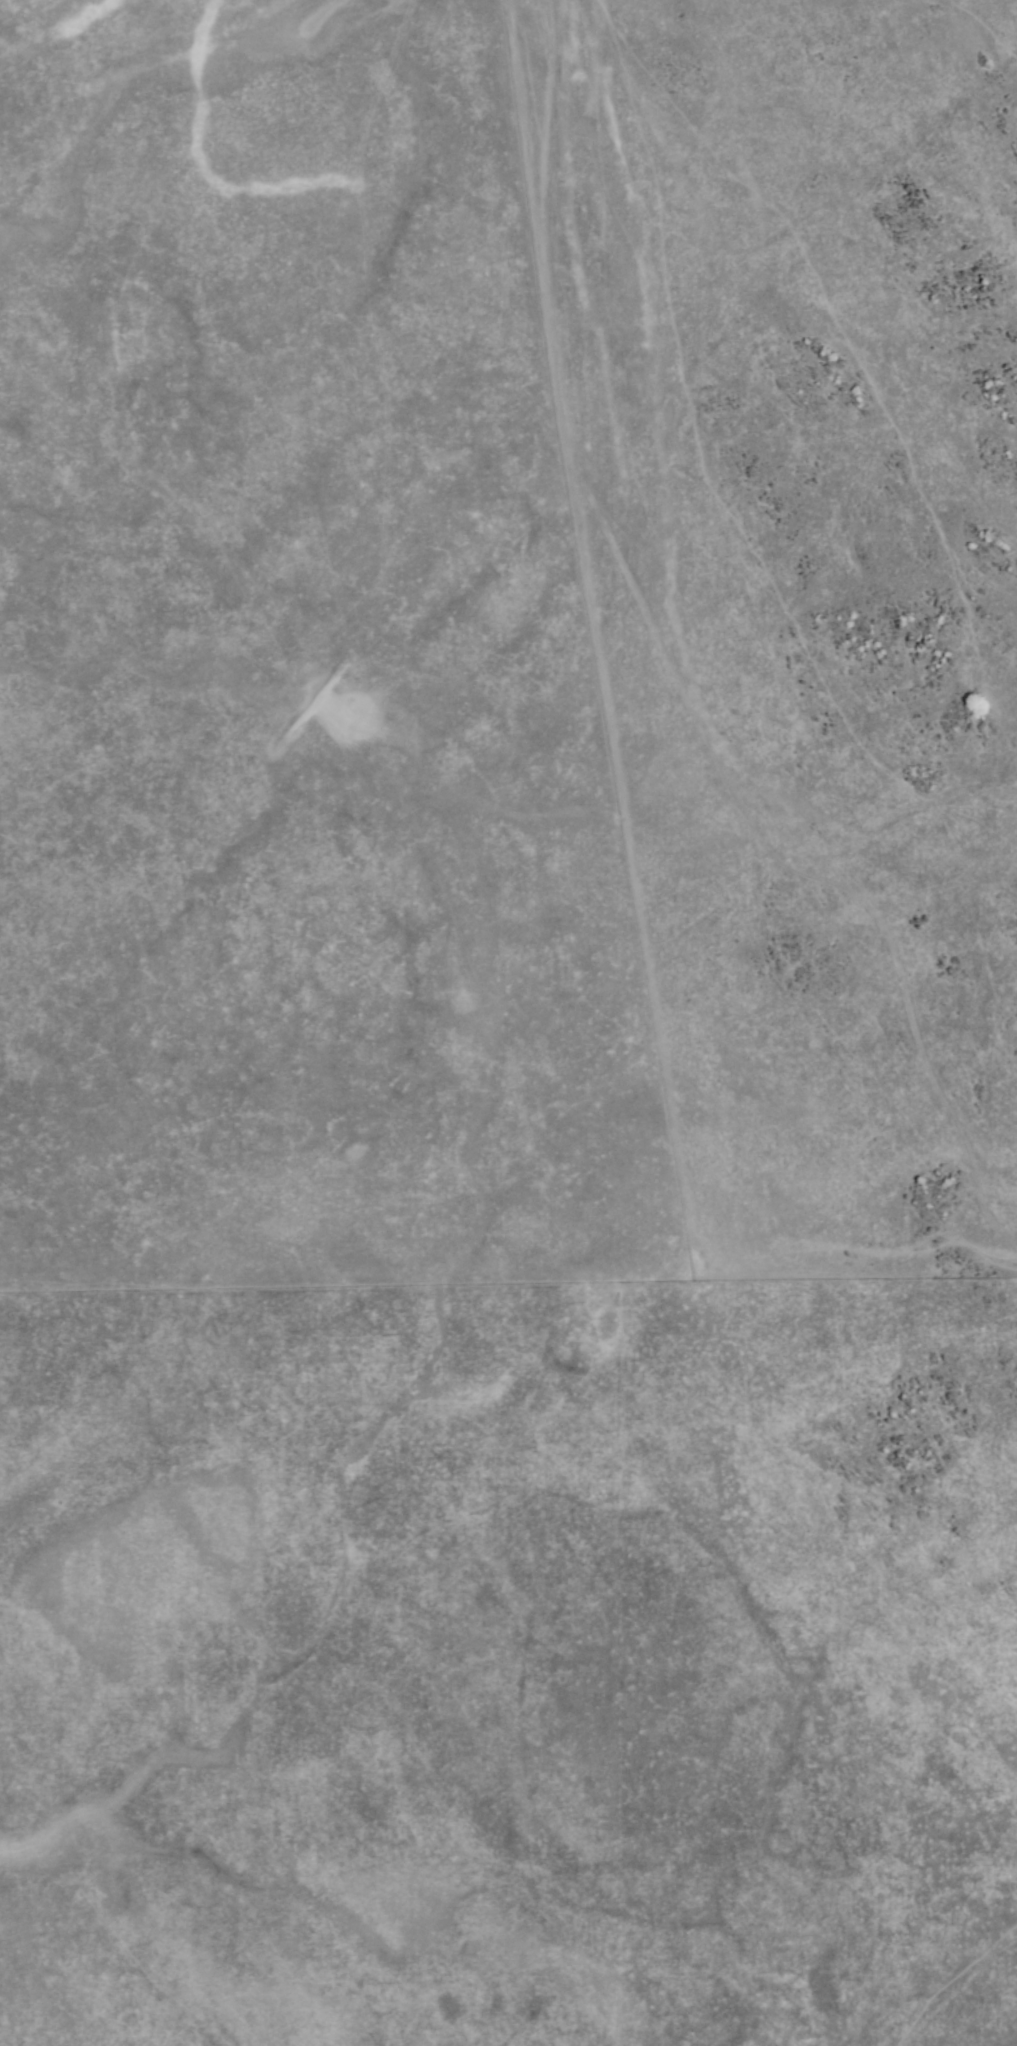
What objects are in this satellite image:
road: (670, 660)

